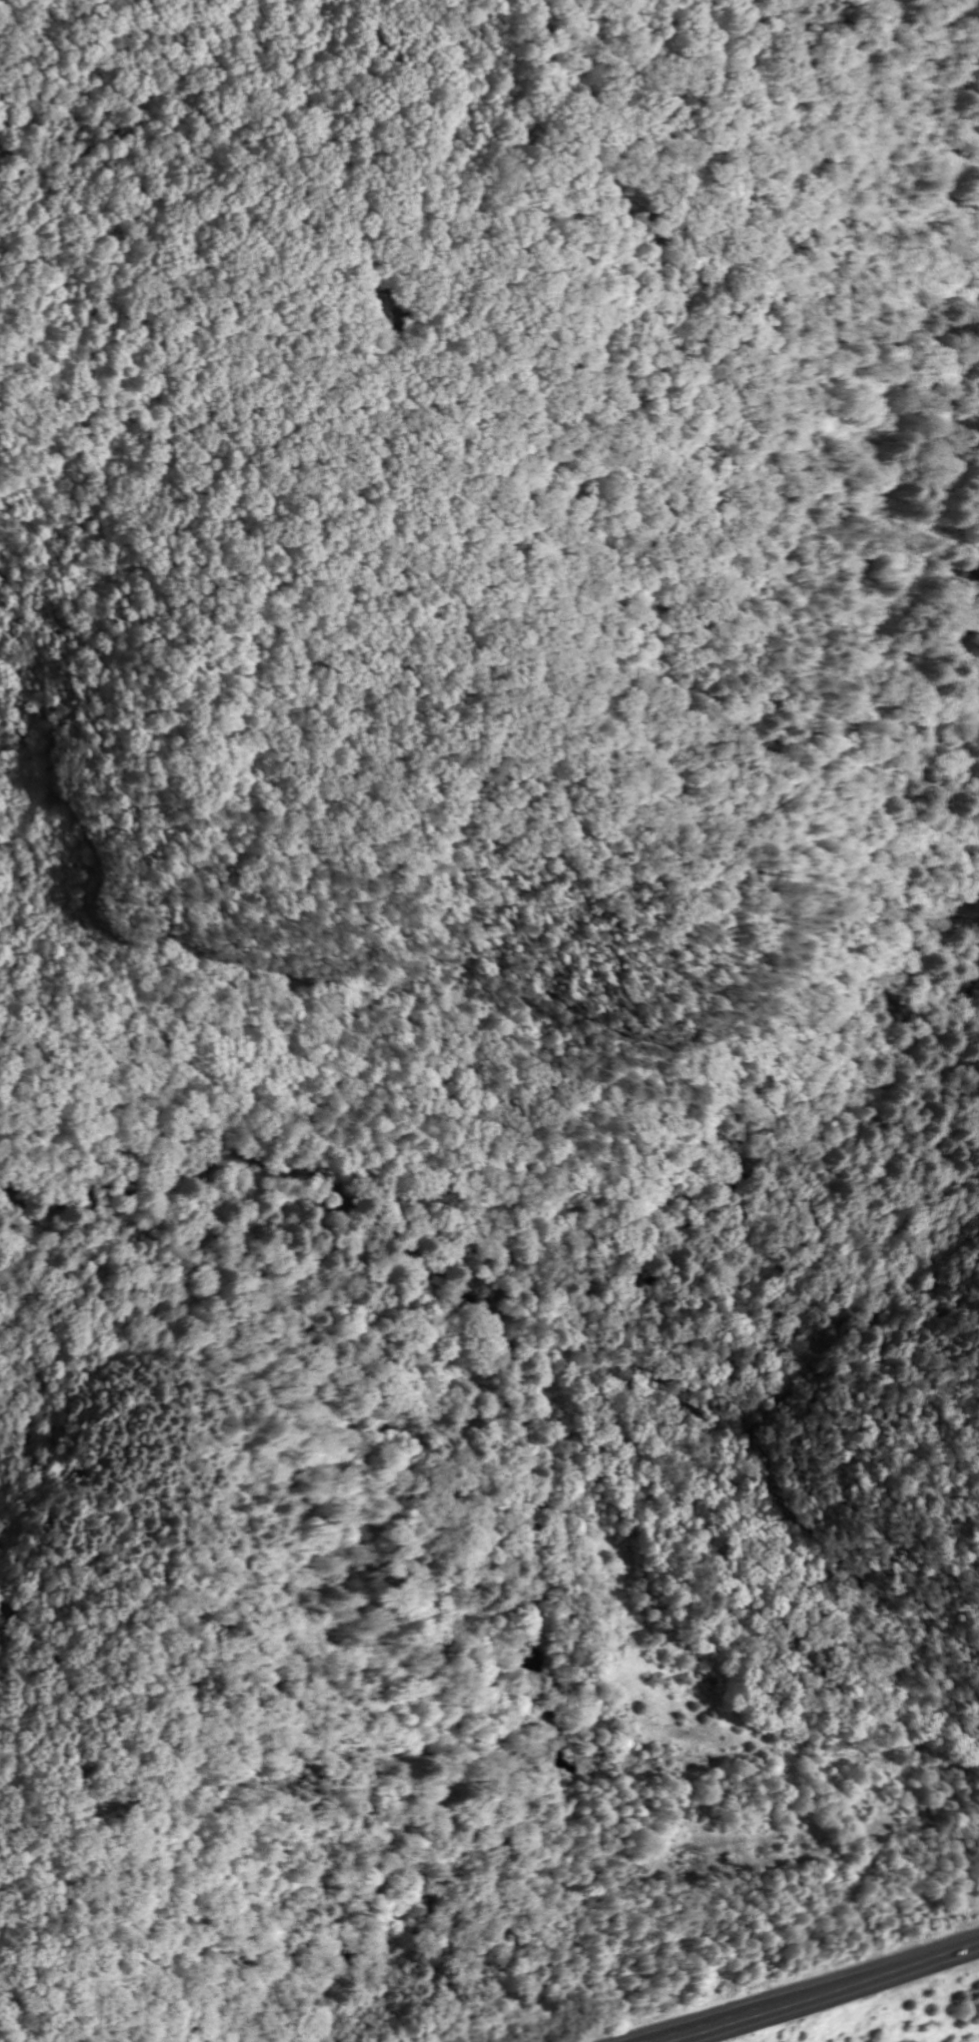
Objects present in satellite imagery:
road: (826, 1992)

